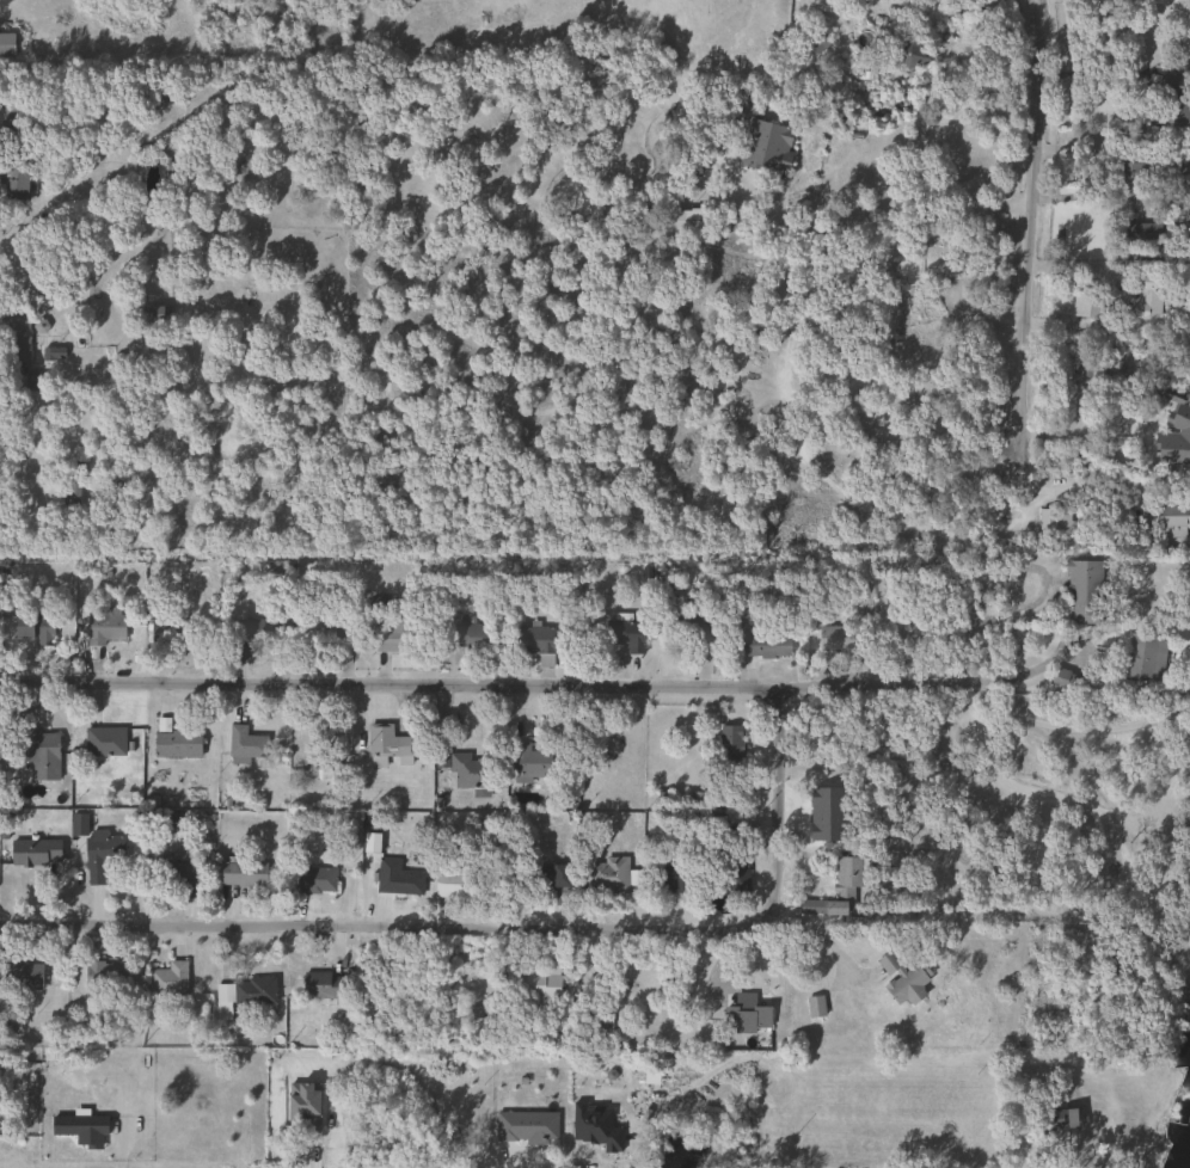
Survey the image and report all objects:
building: (6, 47)
building: (910, 54)
road: (1093, 73)
building: (155, 93)
building: (1173, 109)
building: (766, 147)
building: (1128, 161)
road: (1091, 193)
road: (884, 208)
building: (671, 220)
road: (1024, 234)
building: (1124, 301)
building: (153, 319)
building: (13, 338)
building: (33, 382)
building: (1173, 441)
building: (1167, 520)
building: (1047, 521)
building: (984, 565)
building: (1082, 592)
building: (31, 626)
building: (104, 627)
building: (701, 631)
building: (168, 632)
building: (471, 633)
building: (249, 634)
building: (388, 634)
building: (624, 634)
building: (345, 638)
building: (841, 638)
building: (569, 640)
building: (534, 643)
building: (763, 646)
building: (1143, 658)
building: (1065, 681)
road: (542, 687)
road: (967, 696)
road: (1081, 731)
building: (103, 742)
building: (386, 743)
building: (176, 744)
building: (245, 745)
building: (41, 756)
building: (728, 758)
building: (528, 763)
building: (470, 770)
road: (1139, 819)
road: (1116, 832)
building: (31, 853)
building: (100, 857)
building: (176, 872)
building: (241, 874)
building: (612, 875)
building: (559, 877)
building: (395, 878)
building: (673, 878)
building: (314, 880)
building: (454, 881)
building: (836, 889)
road: (220, 922)
road: (718, 933)
road: (823, 936)
building: (1066, 957)
building: (19, 976)
building: (903, 978)
building: (104, 979)
building: (168, 979)
building: (540, 982)
building: (320, 986)
building: (243, 995)
building: (814, 1007)
building: (746, 1014)
building: (597, 1020)
road: (495, 1064)
building: (1056, 1119)
building: (525, 1126)

